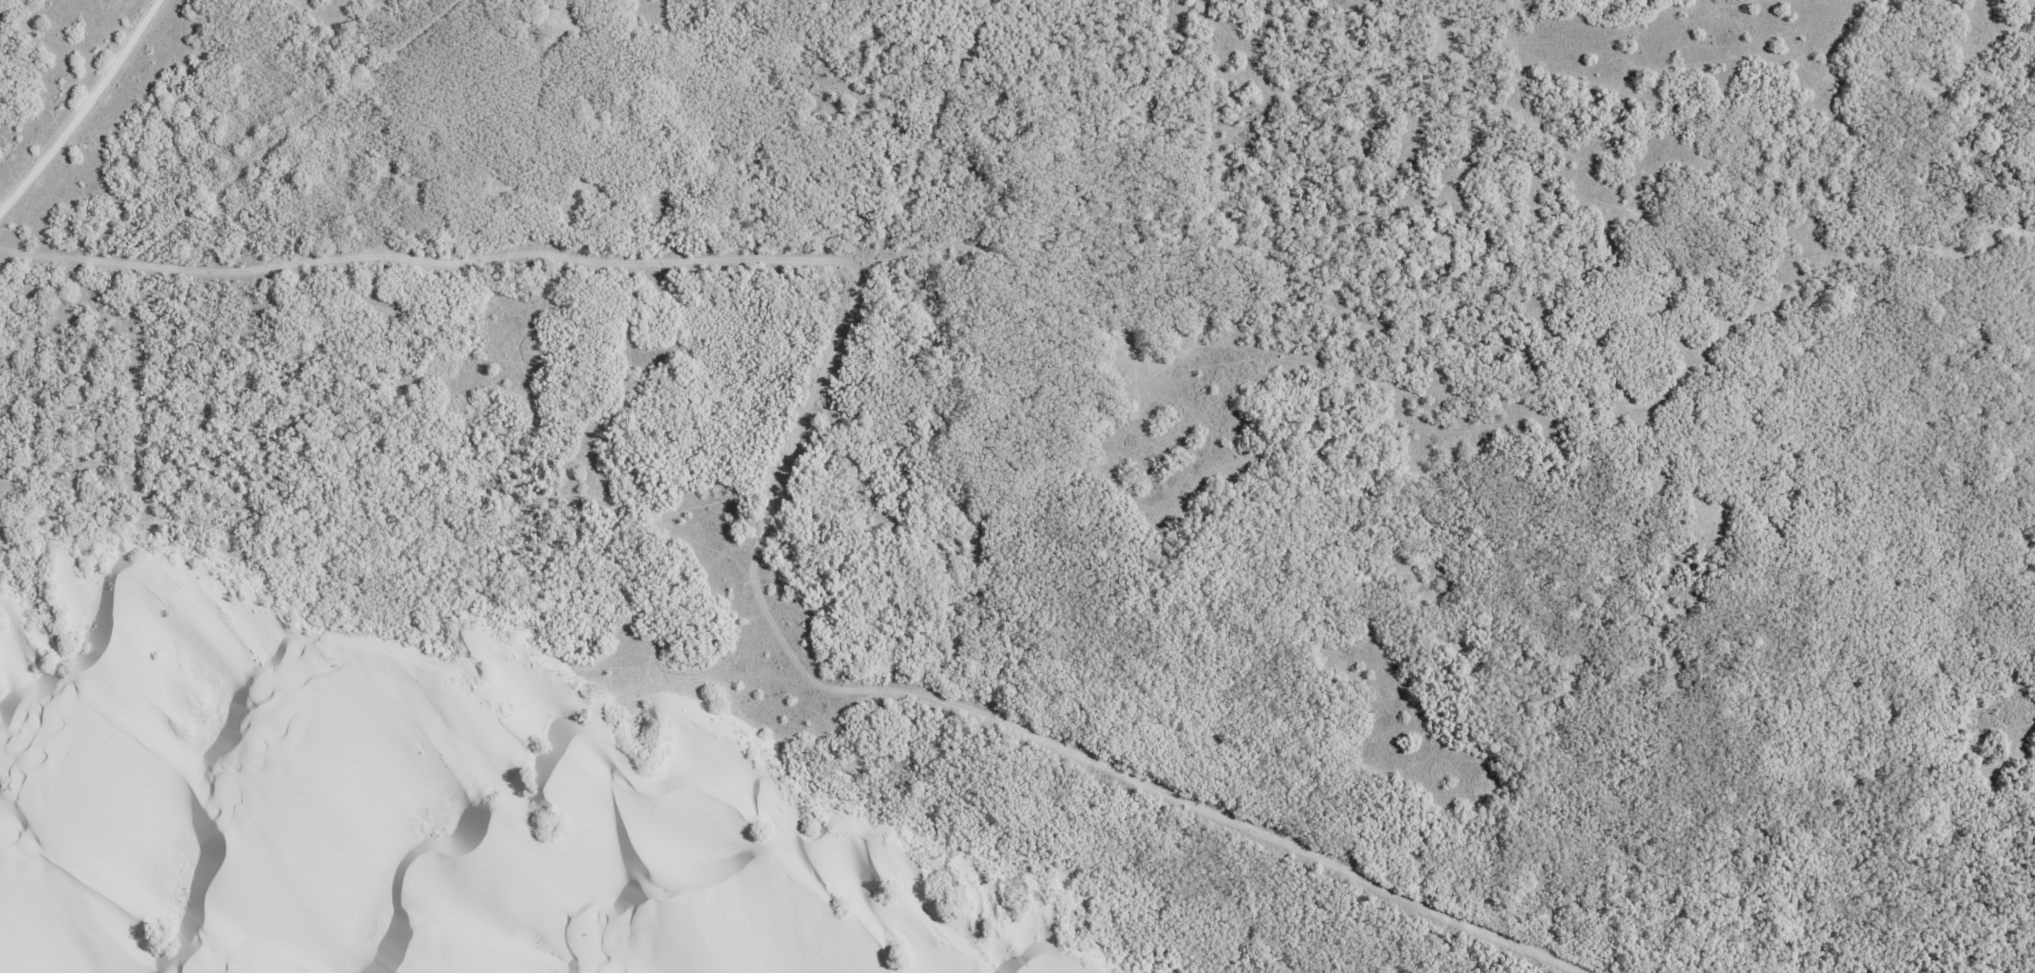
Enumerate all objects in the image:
road: (76, 110)
road: (789, 755)
road: (681, 870)

